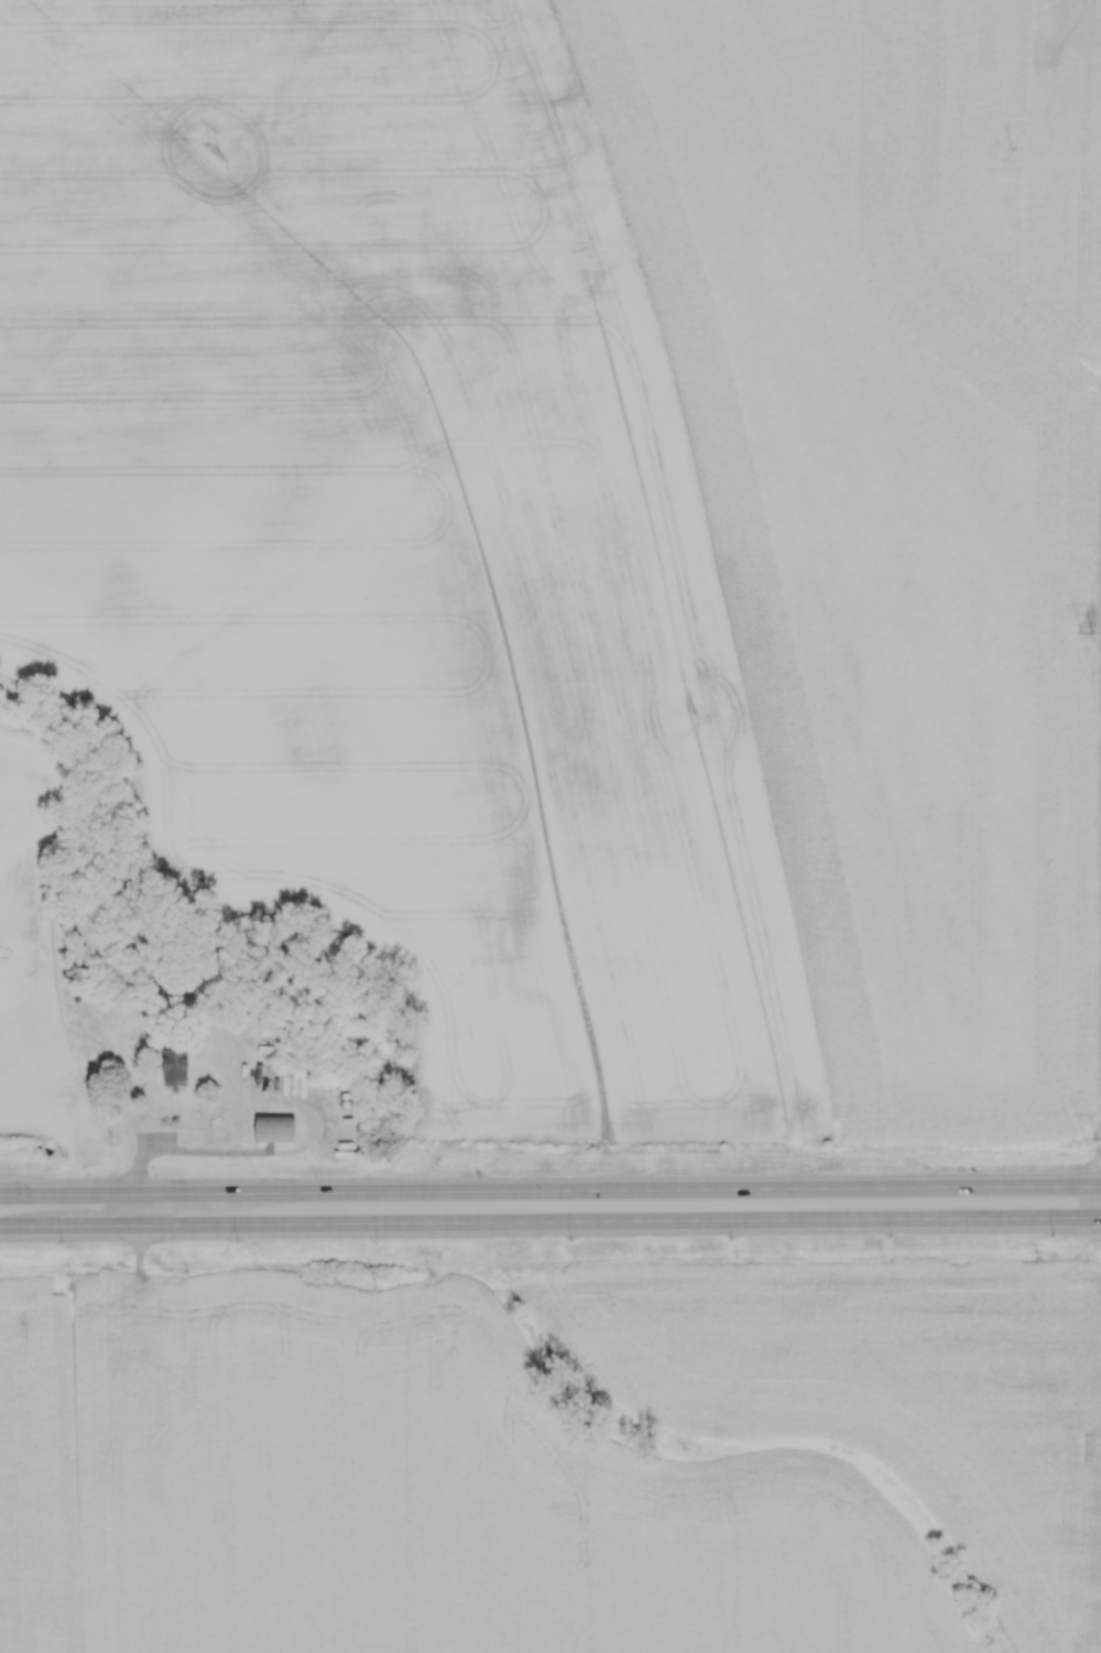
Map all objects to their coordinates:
power tower: (216, 152)
power tower: (1087, 631)
building: (173, 1065)
building: (273, 1128)
power tower: (1095, 1137)
road: (185, 1153)
road: (550, 1192)
road: (135, 1210)
road: (550, 1222)
crop: (592, 1460)
crop: (40, 1470)

